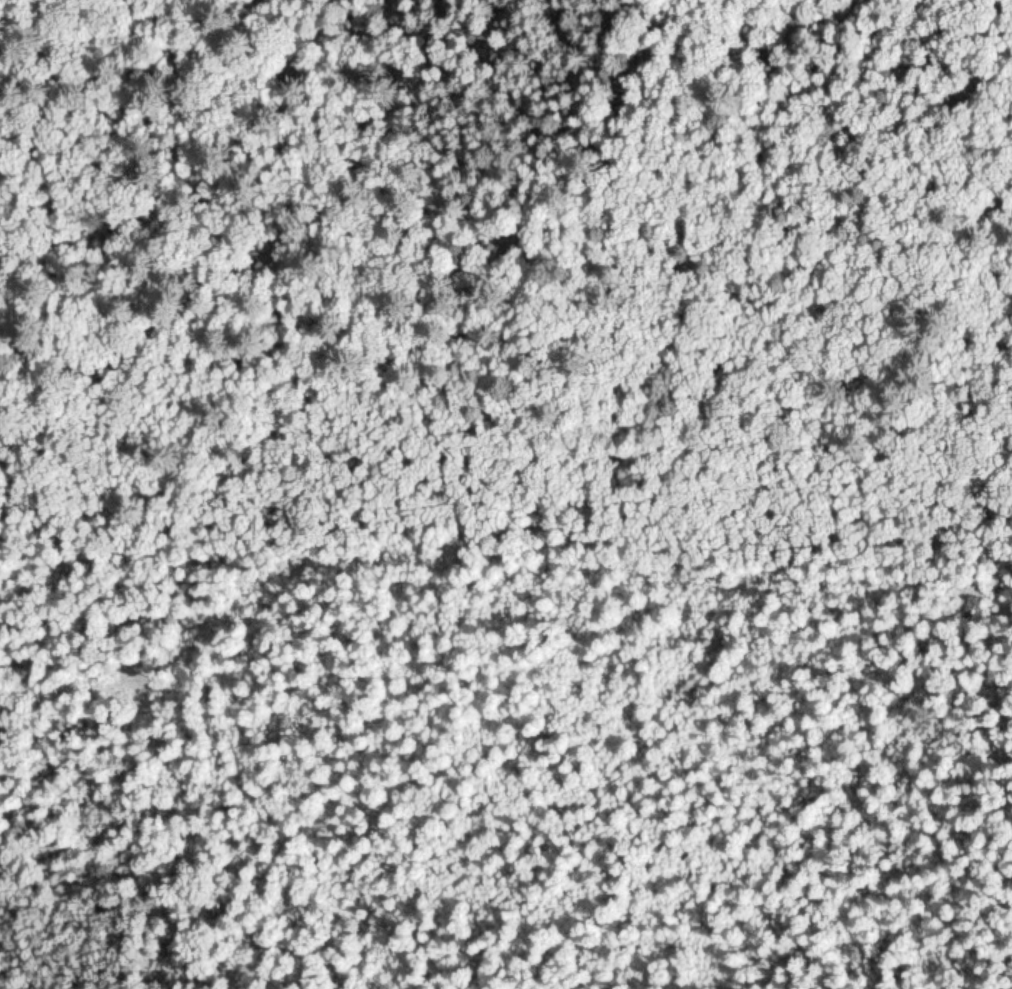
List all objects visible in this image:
road: (349, 181)

